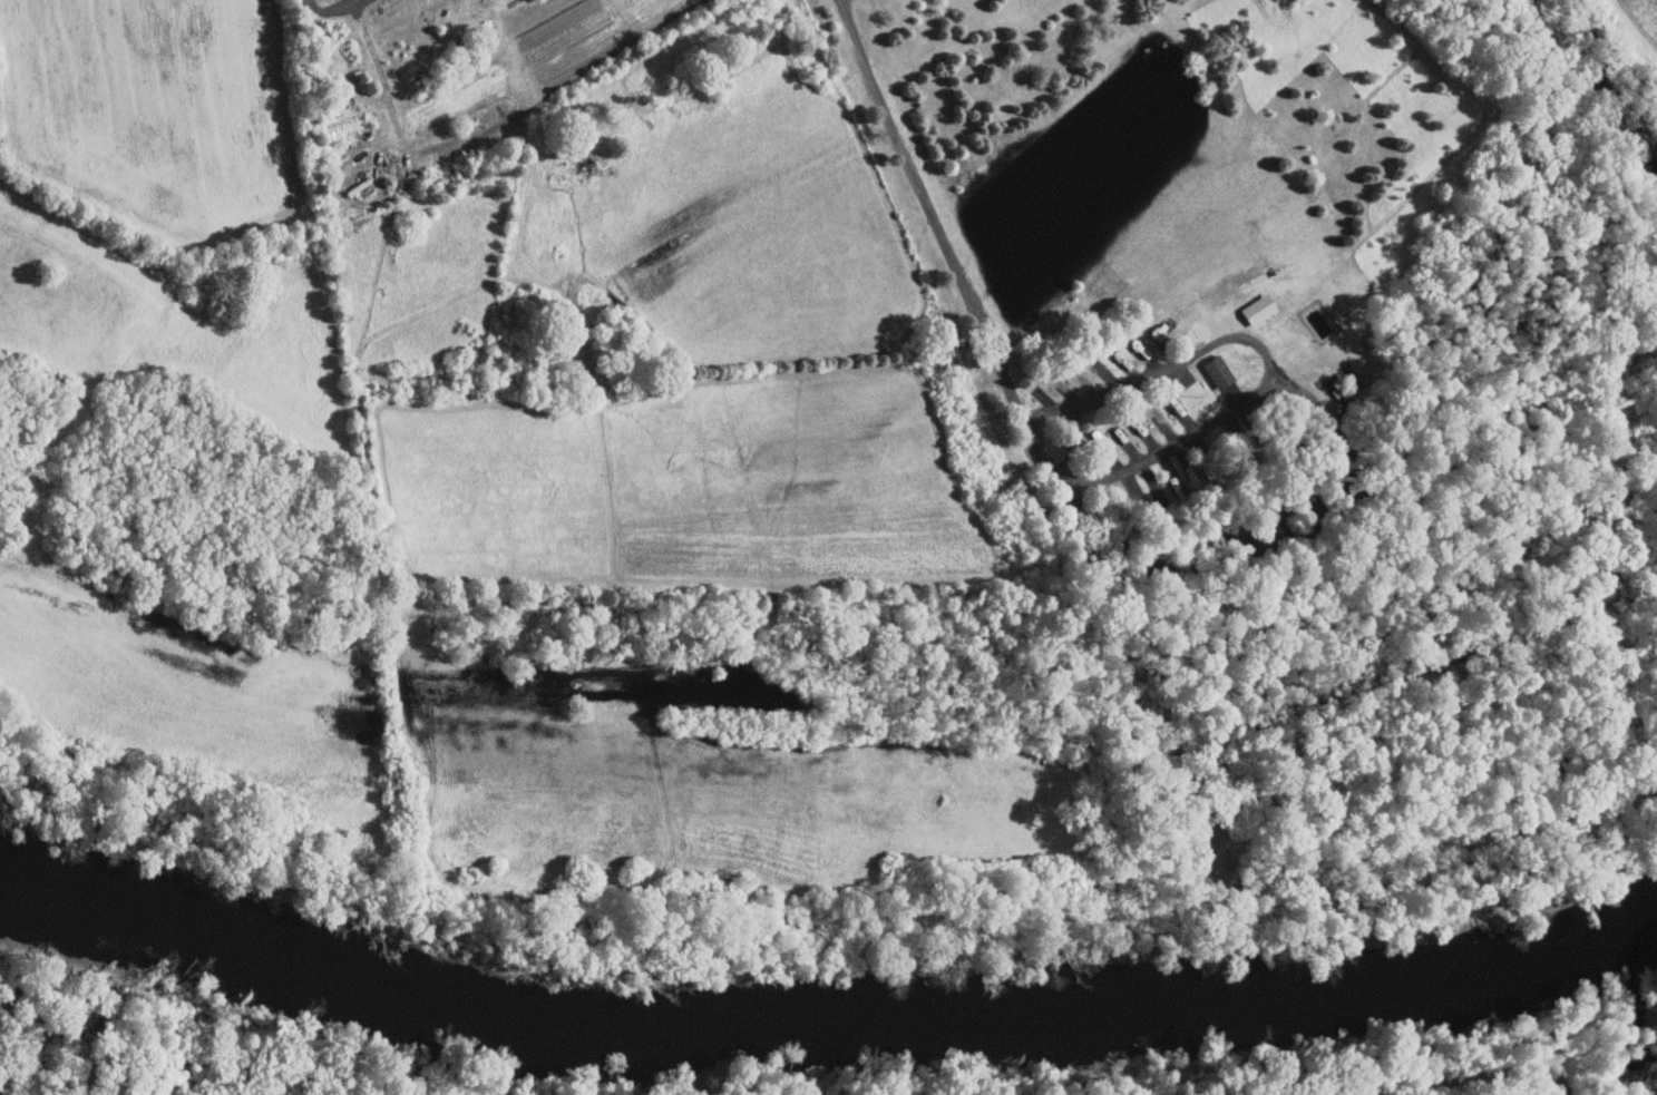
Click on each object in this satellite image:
road: (333, 10)
building: (461, 57)
road: (381, 76)
road: (929, 213)
building: (1255, 309)
building: (1215, 371)
road: (1267, 384)
river: (51, 886)
river: (1641, 931)
river: (857, 1021)
park: (376, 1060)
road: (1484, 1074)

